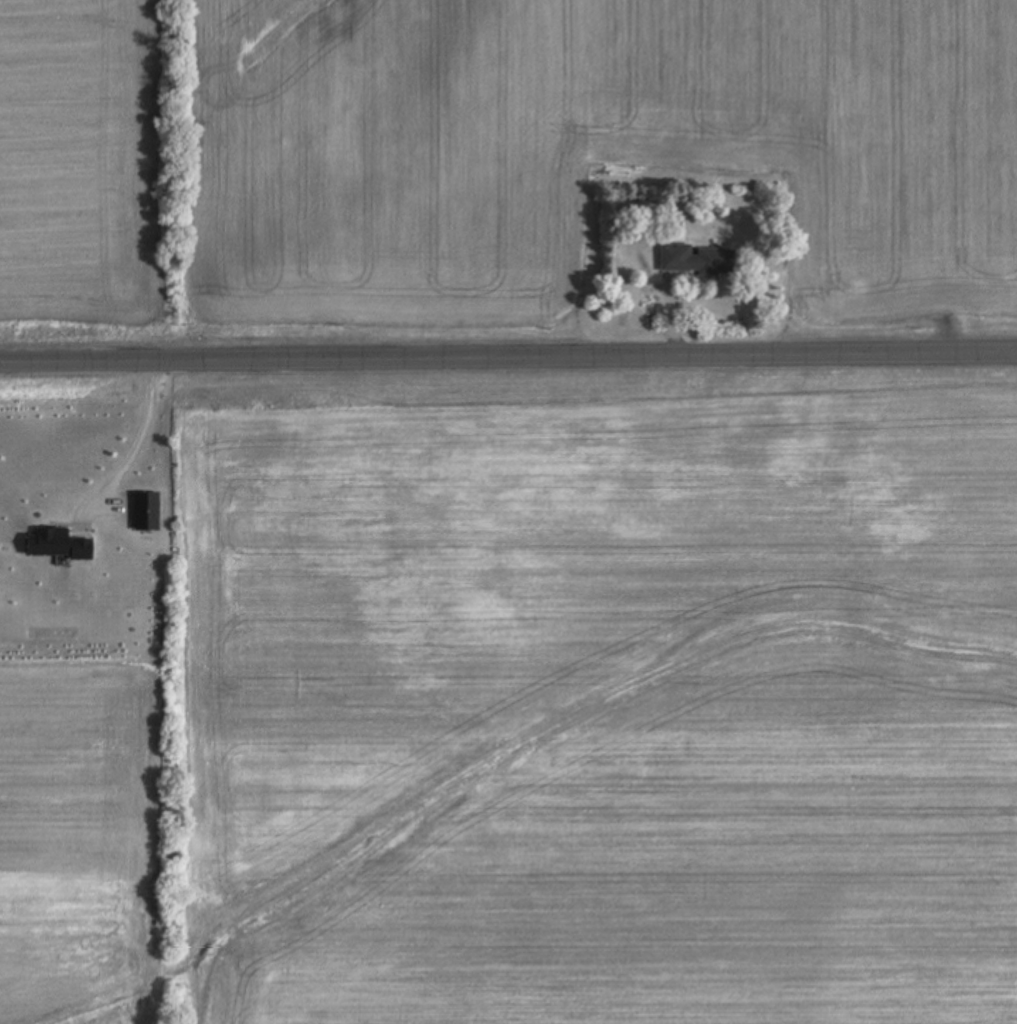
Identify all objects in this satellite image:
building: (698, 260)
road: (508, 357)

